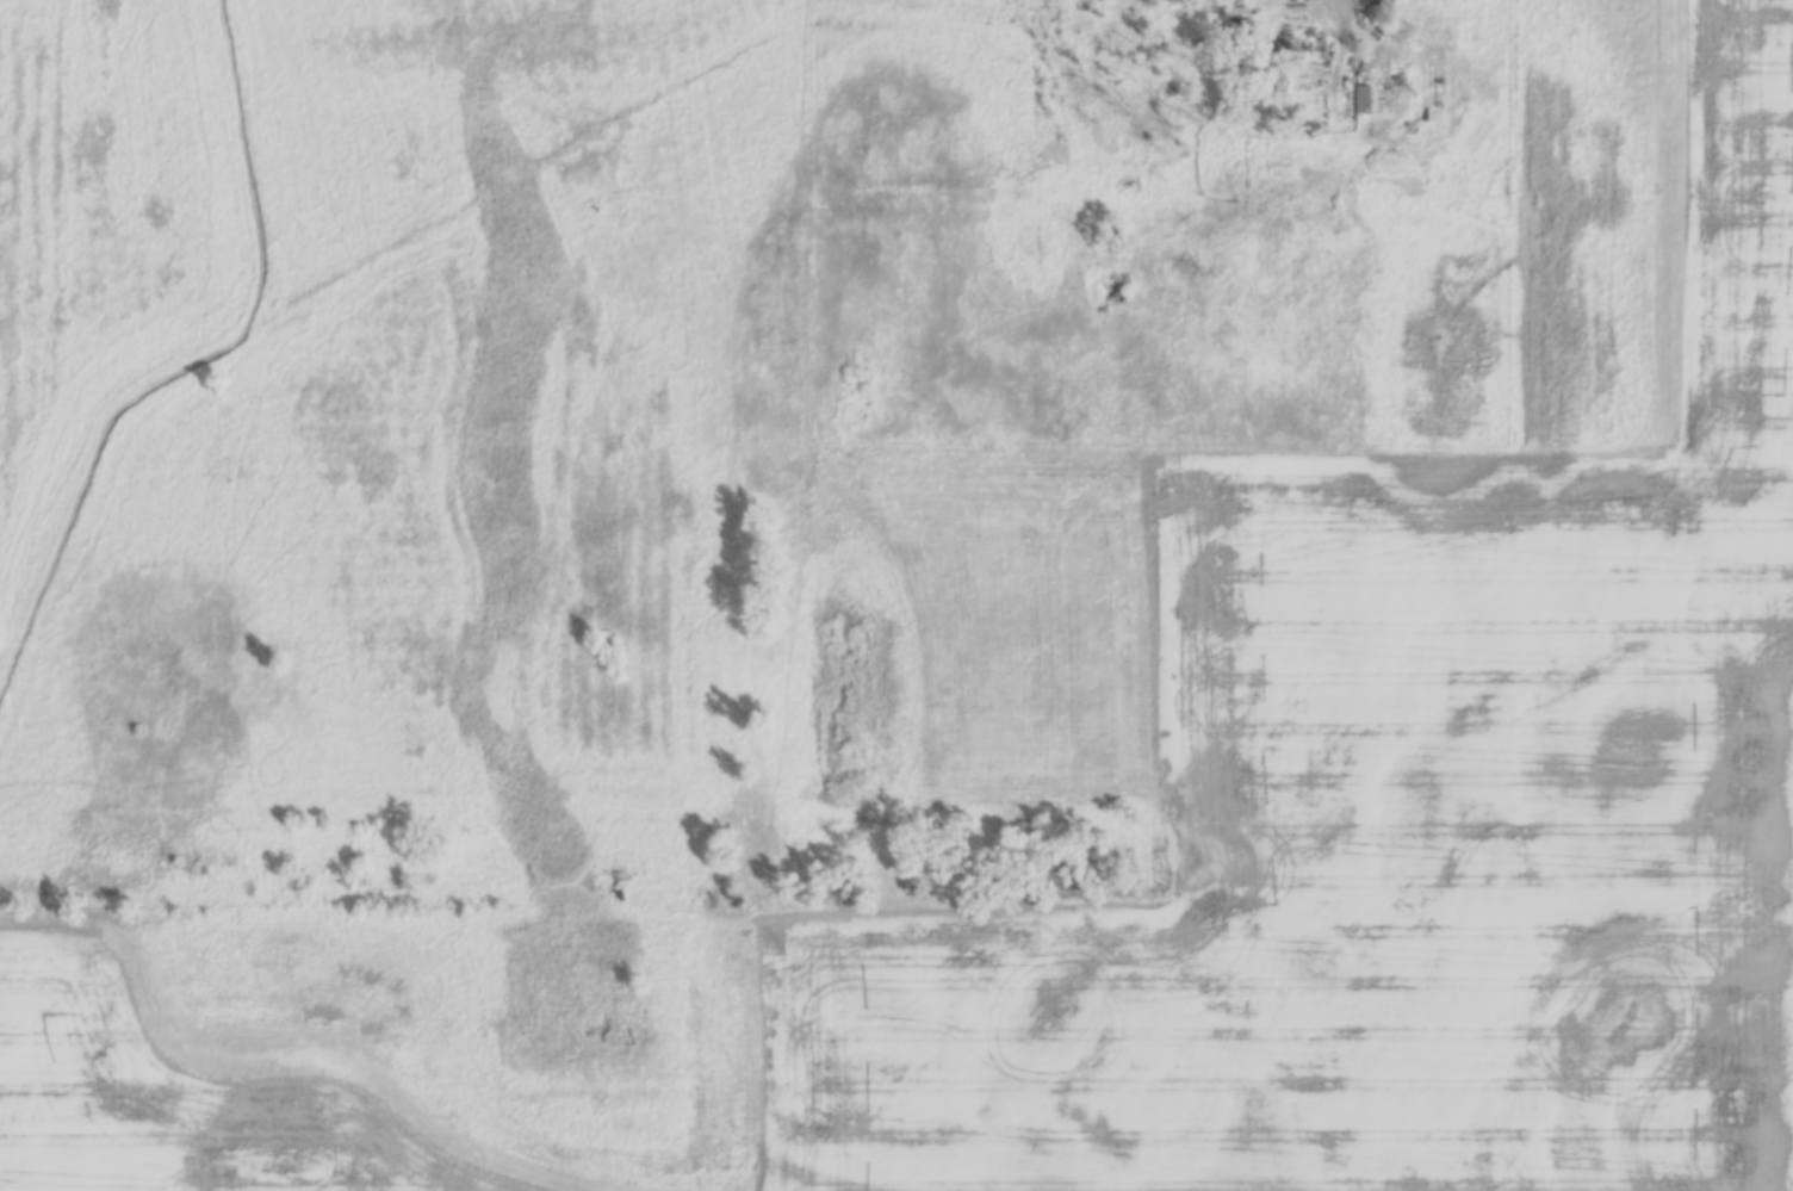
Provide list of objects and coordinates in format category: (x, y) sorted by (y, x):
road: (1361, 27)
building: (1360, 100)

